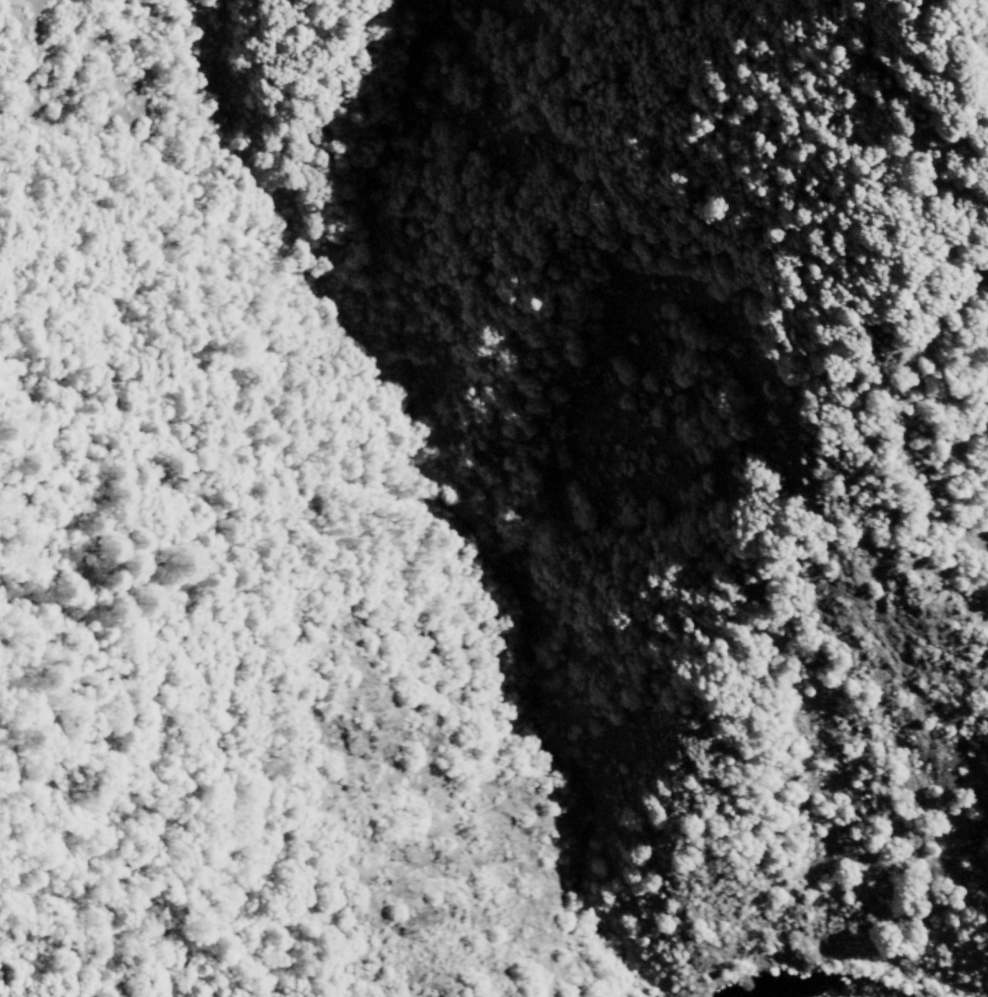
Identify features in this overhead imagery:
road: (231, 555)
river: (816, 987)

